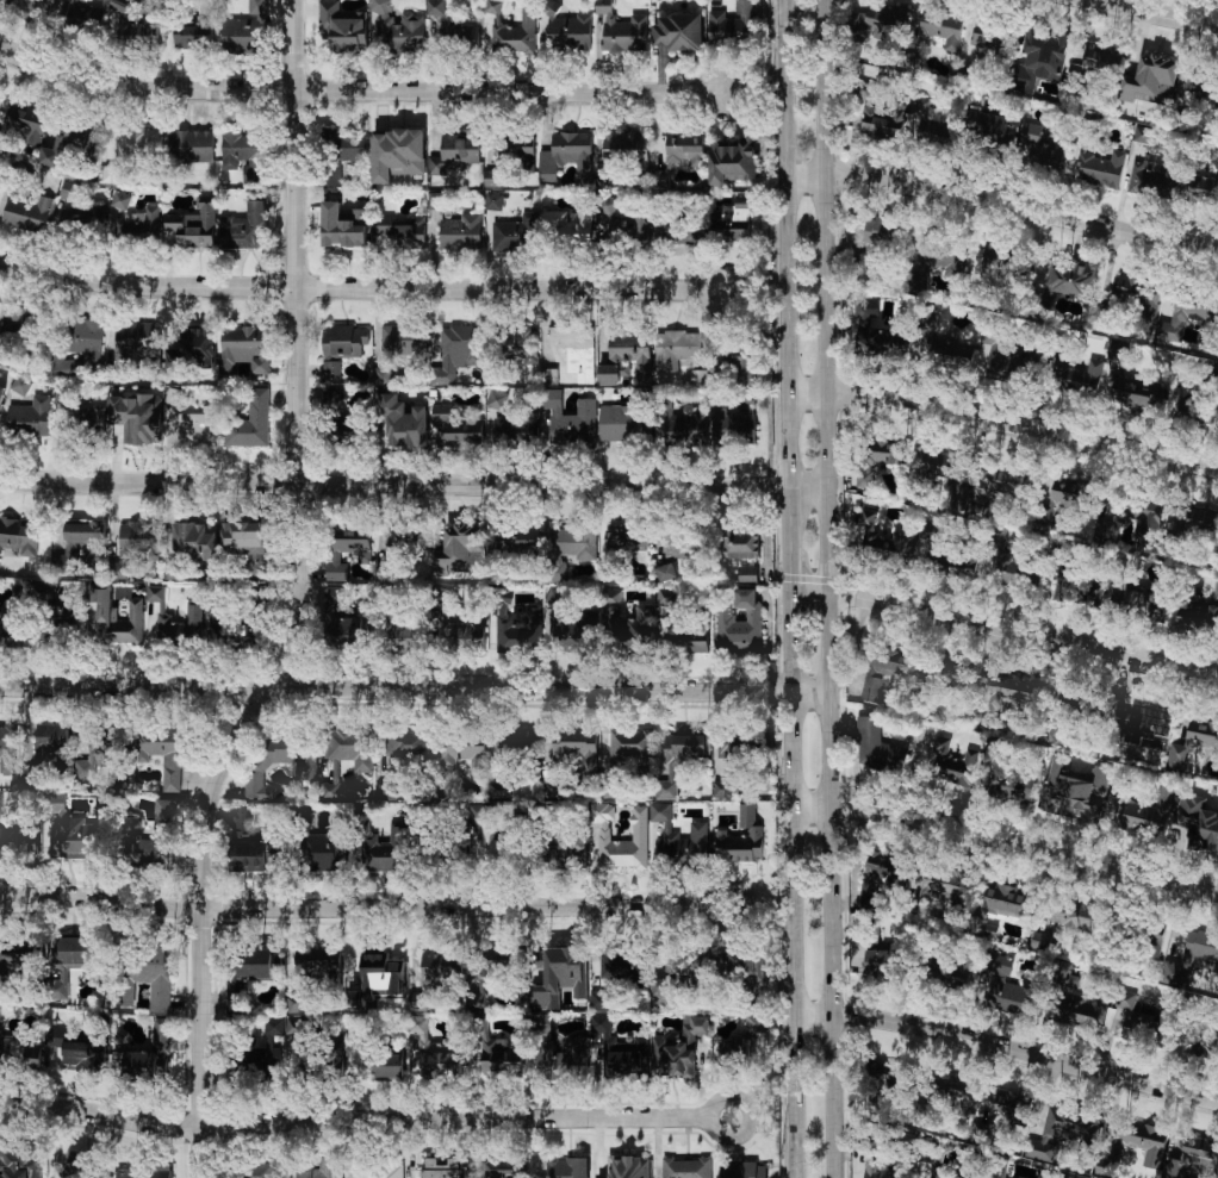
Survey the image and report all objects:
building: (435, 7)
building: (82, 13)
road: (1155, 13)
building: (883, 19)
building: (135, 24)
building: (732, 27)
building: (343, 29)
building: (397, 29)
building: (510, 30)
building: (247, 31)
building: (567, 31)
building: (622, 31)
building: (678, 32)
building: (993, 36)
building: (459, 37)
building: (193, 38)
building: (1088, 66)
building: (1152, 81)
road: (358, 92)
building: (885, 120)
building: (25, 121)
building: (936, 123)
building: (992, 125)
building: (136, 141)
building: (348, 145)
building: (192, 147)
building: (624, 149)
building: (1045, 149)
building: (241, 151)
building: (456, 152)
building: (682, 152)
building: (398, 155)
building: (568, 157)
building: (733, 161)
building: (1102, 169)
building: (331, 175)
building: (1150, 179)
building: (120, 200)
building: (493, 202)
road: (1001, 207)
building: (88, 212)
building: (29, 213)
building: (137, 223)
building: (735, 224)
building: (194, 226)
building: (570, 226)
building: (626, 226)
building: (343, 228)
building: (244, 229)
building: (402, 231)
building: (461, 232)
building: (882, 232)
building: (516, 235)
building: (686, 235)
building: (938, 257)
road: (785, 263)
building: (998, 264)
road: (361, 287)
building: (1139, 297)
building: (11, 325)
building: (865, 328)
building: (1173, 330)
building: (87, 338)
building: (136, 342)
building: (404, 342)
building: (195, 348)
building: (342, 348)
building: (244, 349)
building: (577, 349)
building: (676, 349)
building: (458, 351)
building: (952, 353)
building: (1118, 353)
building: (632, 354)
building: (739, 361)
building: (1002, 366)
building: (76, 368)
building: (383, 375)
building: (608, 375)
building: (1077, 375)
building: (700, 378)
building: (1, 393)
building: (1136, 393)
building: (497, 400)
building: (1186, 409)
building: (63, 411)
building: (30, 417)
building: (138, 418)
building: (721, 418)
building: (572, 420)
building: (92, 422)
building: (249, 422)
building: (404, 423)
building: (622, 423)
road: (1002, 424)
building: (517, 428)
building: (195, 429)
building: (458, 429)
building: (684, 429)
building: (883, 451)
building: (949, 473)
building: (865, 478)
building: (1006, 484)
road: (412, 486)
building: (1069, 492)
building: (1145, 518)
building: (1195, 519)
building: (19, 535)
building: (137, 536)
building: (627, 537)
building: (404, 538)
building: (882, 538)
building: (199, 541)
building: (517, 541)
building: (741, 543)
building: (678, 544)
building: (81, 548)
building: (570, 548)
building: (461, 549)
building: (334, 556)
building: (944, 559)
road: (789, 560)
building: (666, 572)
building: (747, 574)
road: (827, 588)
building: (1079, 588)
building: (155, 592)
building: (555, 594)
building: (666, 597)
road: (302, 599)
building: (1199, 612)
building: (64, 616)
building: (119, 619)
building: (739, 623)
building: (182, 628)
building: (518, 628)
building: (639, 628)
building: (232, 629)
road: (1003, 629)
building: (347, 630)
building: (577, 630)
building: (403, 632)
building: (464, 634)
building: (686, 643)
building: (882, 672)
building: (955, 673)
road: (414, 688)
building: (1008, 691)
building: (1150, 719)
building: (51, 737)
building: (1193, 741)
building: (408, 744)
building: (518, 744)
building: (630, 744)
building: (352, 747)
building: (877, 748)
building: (7, 749)
building: (162, 752)
building: (731, 753)
building: (293, 754)
building: (95, 758)
building: (467, 758)
building: (678, 760)
building: (950, 762)
building: (334, 779)
building: (1011, 785)
building: (722, 789)
building: (1075, 790)
building: (55, 800)
building: (166, 812)
building: (1148, 815)
building: (1198, 823)
building: (602, 830)
building: (678, 836)
building: (740, 837)
road: (1006, 839)
building: (19, 841)
building: (77, 841)
building: (486, 846)
building: (147, 847)
building: (384, 850)
building: (323, 852)
building: (554, 856)
building: (882, 874)
building: (945, 884)
road: (791, 885)
building: (1003, 900)
road: (365, 908)
building: (1073, 915)
building: (1040, 940)
building: (1191, 958)
building: (74, 959)
building: (317, 962)
building: (686, 964)
building: (883, 964)
building: (745, 966)
building: (441, 967)
building: (949, 972)
building: (246, 973)
building: (619, 973)
building: (153, 976)
building: (559, 977)
building: (1007, 986)
building: (661, 987)
building: (663, 1002)
building: (1077, 1010)
building: (599, 1024)
building: (1138, 1027)
building: (287, 1035)
building: (1200, 1040)
building: (744, 1041)
building: (678, 1048)
road: (1006, 1051)
building: (19, 1053)
building: (76, 1053)
building: (435, 1053)
building: (561, 1055)
building: (145, 1057)
building: (501, 1057)
building: (626, 1058)
building: (262, 1059)
building: (330, 1065)
building: (387, 1066)
building: (878, 1085)
building: (957, 1089)
building: (1009, 1105)
road: (363, 1116)
building: (1061, 1132)
building: (1142, 1142)
building: (872, 1158)
building: (1194, 1160)
building: (19, 1163)
building: (80, 1165)
building: (567, 1167)
building: (628, 1167)
building: (441, 1168)
building: (682, 1168)
building: (323, 1170)
building: (742, 1170)
building: (261, 1171)
building: (144, 1172)
building: (378, 1172)
building: (970, 1172)

